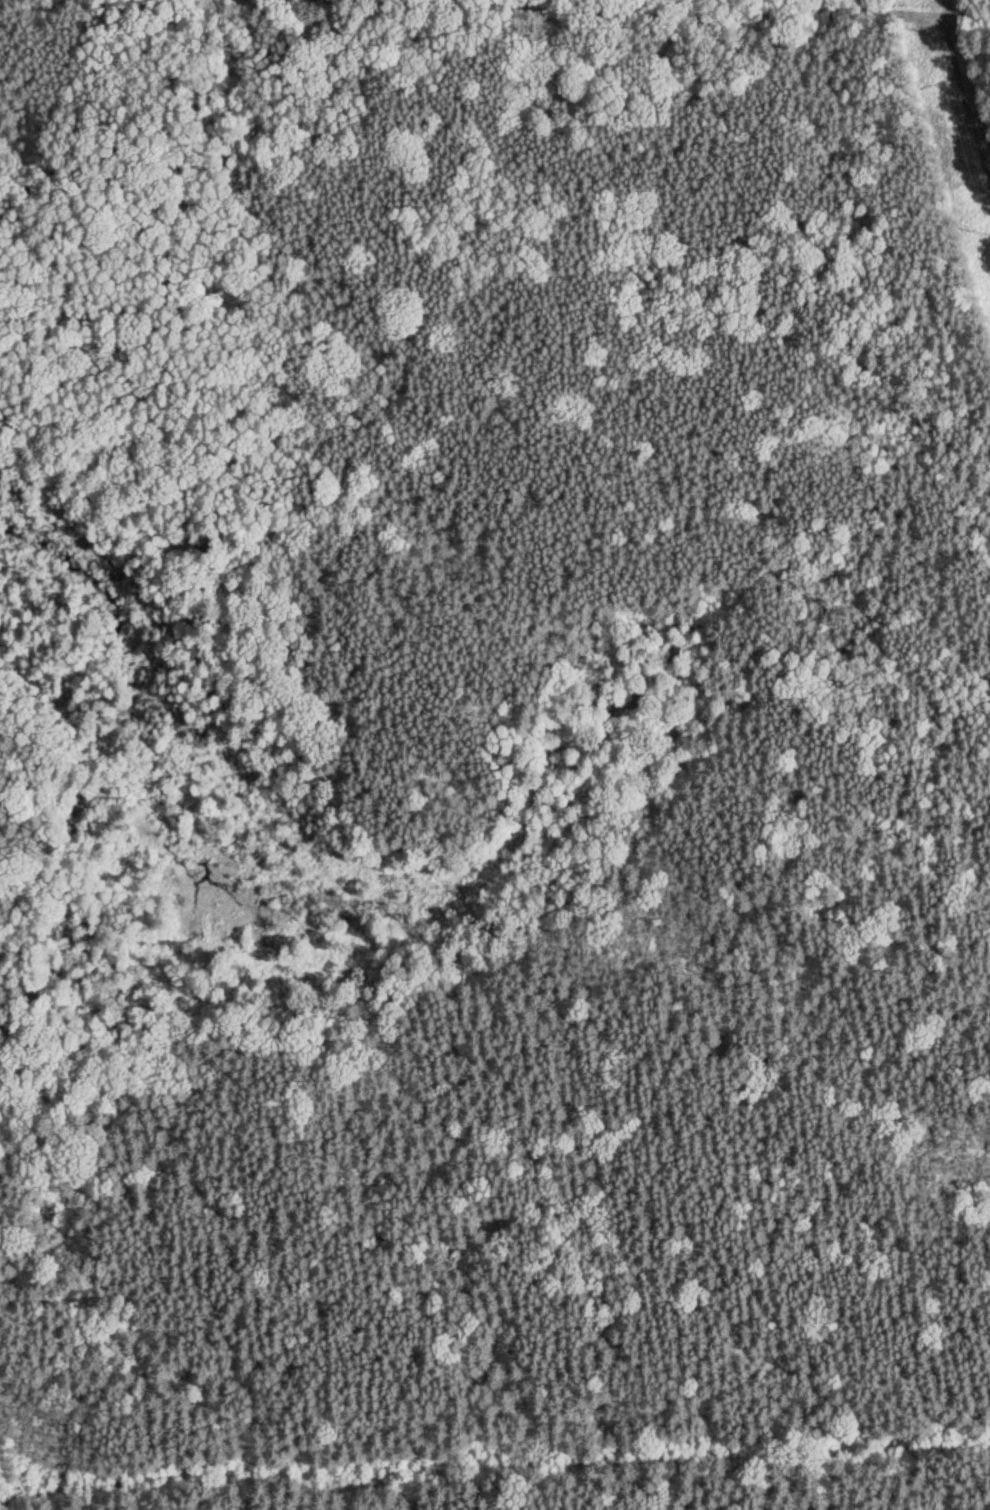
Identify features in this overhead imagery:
road: (765, 4)
road: (967, 90)

